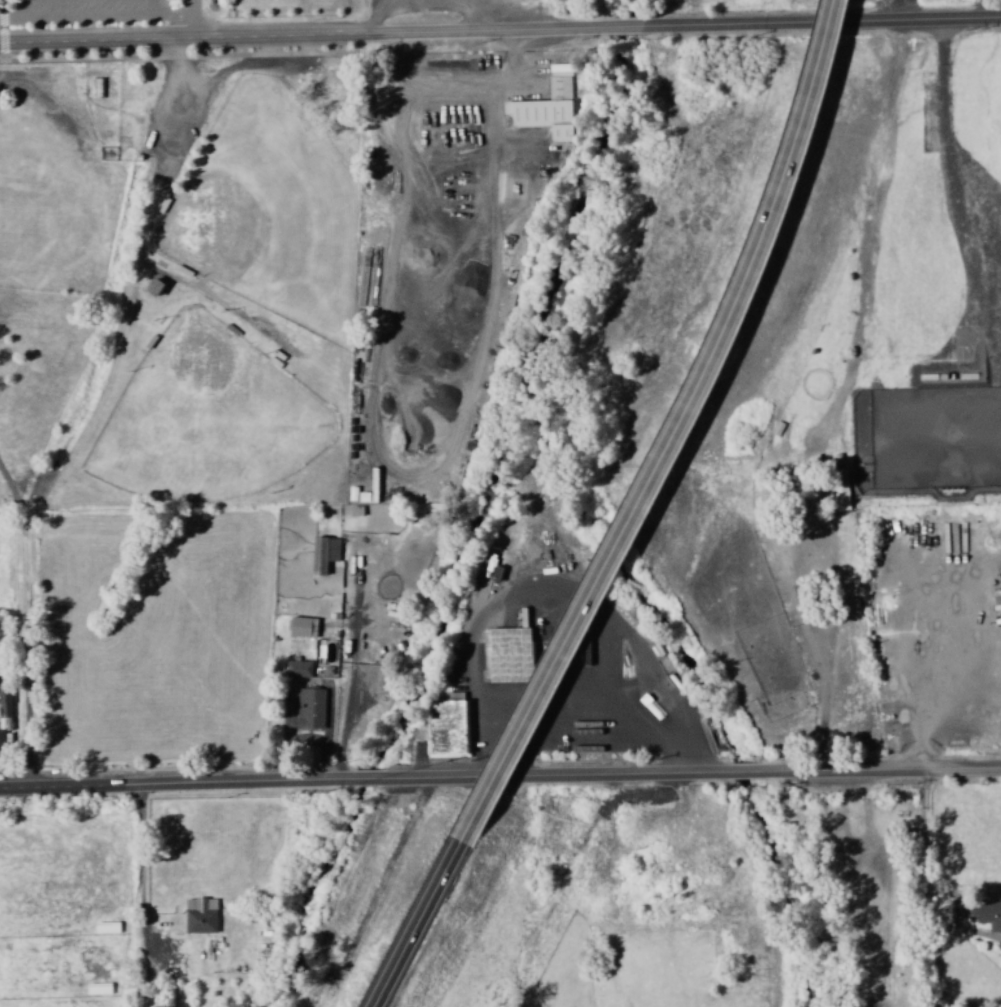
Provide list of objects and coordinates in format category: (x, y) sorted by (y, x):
parking lot: (457, 7)
parking lot: (95, 12)
road: (500, 32)
building: (95, 88)
building: (549, 106)
park: (268, 207)
park: (220, 430)
road: (671, 431)
park: (1, 497)
building: (324, 554)
building: (303, 627)
building: (506, 655)
building: (299, 669)
building: (5, 701)
building: (311, 709)
building: (447, 729)
road: (500, 778)
building: (201, 915)
building: (990, 915)
road: (415, 924)
building: (107, 928)

